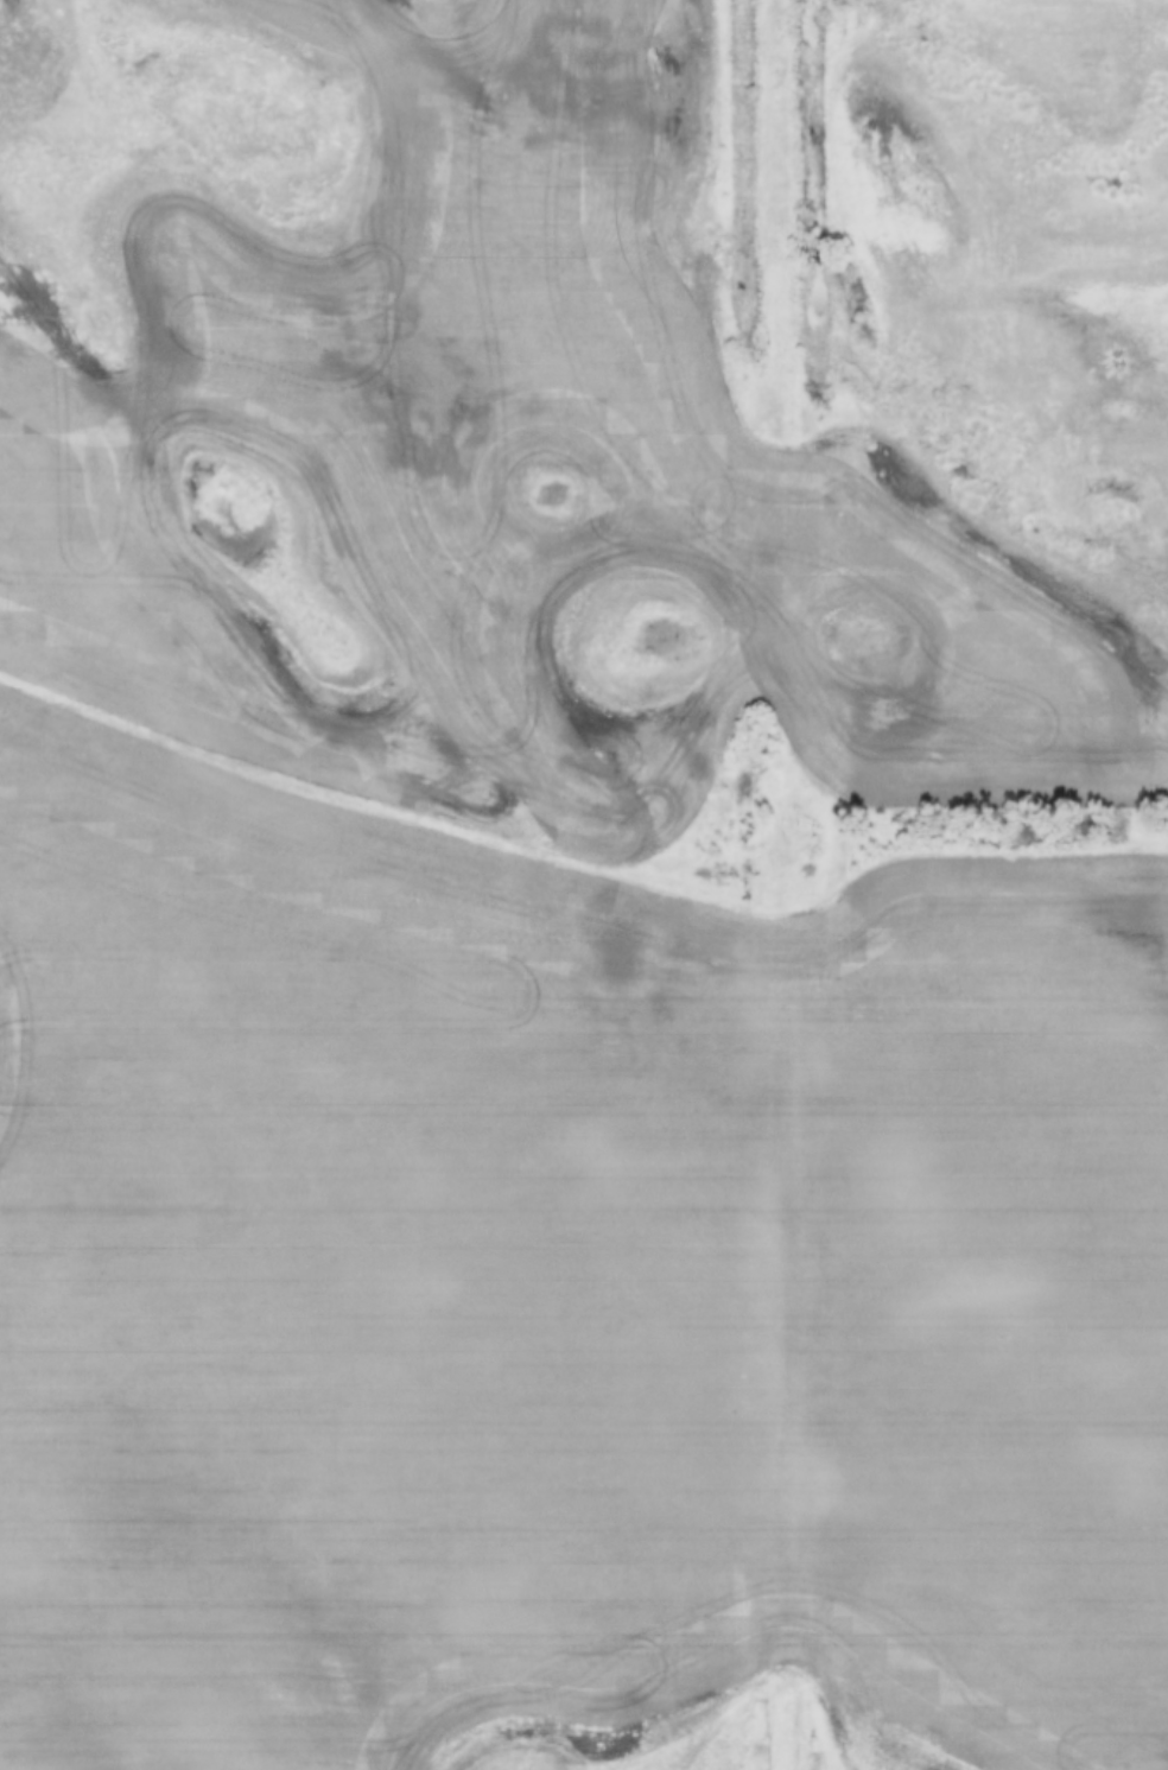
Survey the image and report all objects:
road: (812, 881)
road: (795, 1726)

